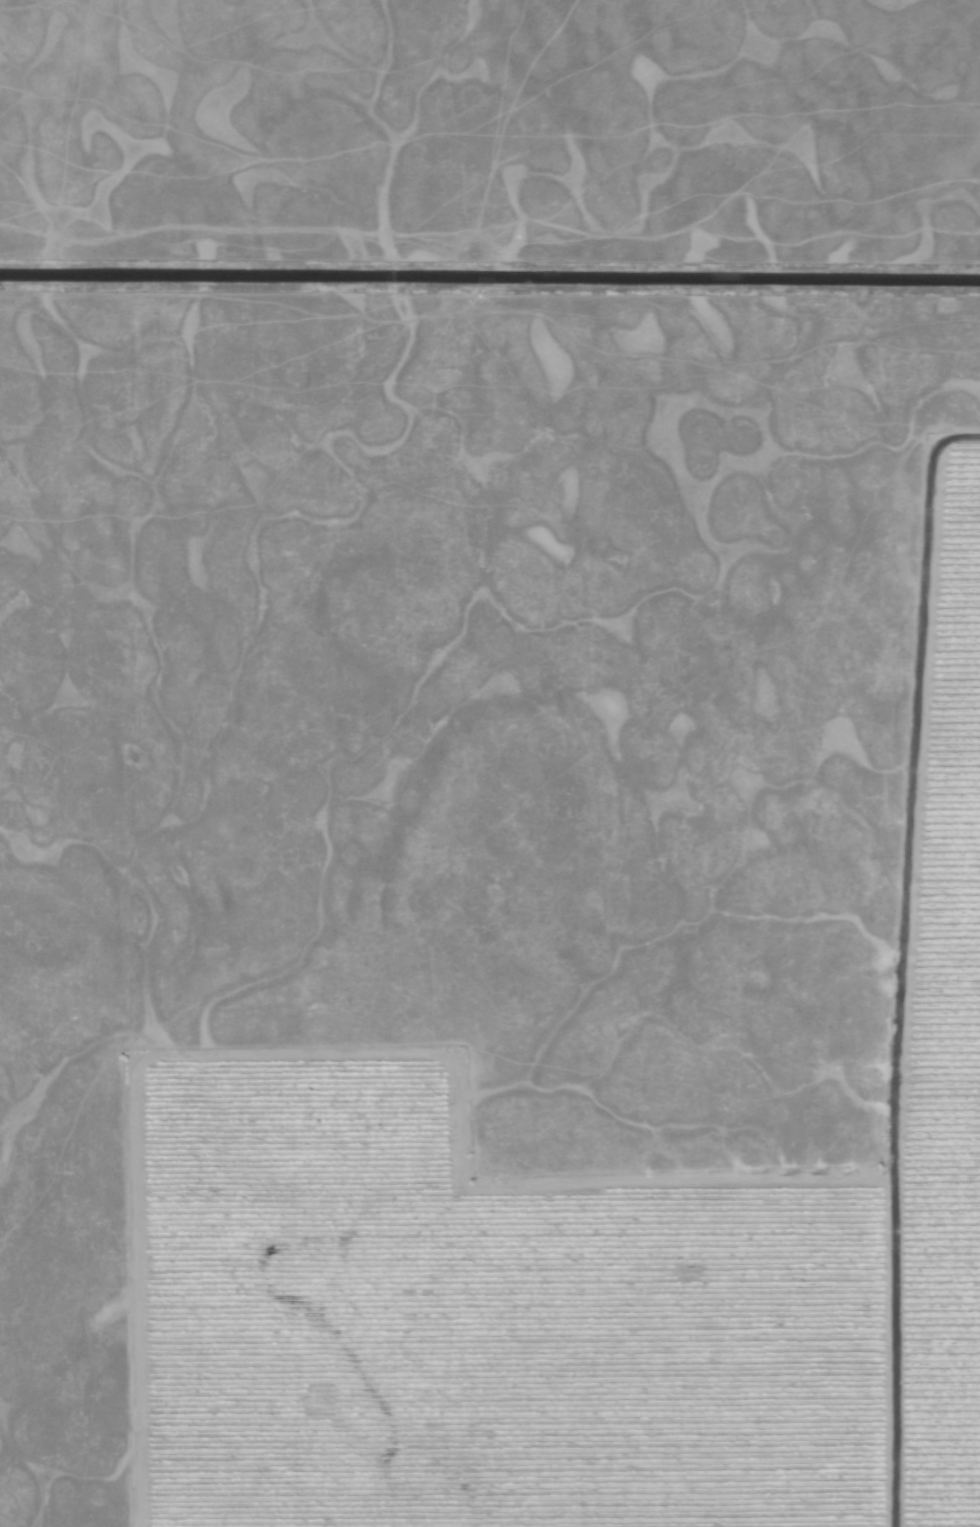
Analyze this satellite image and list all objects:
road: (490, 276)

